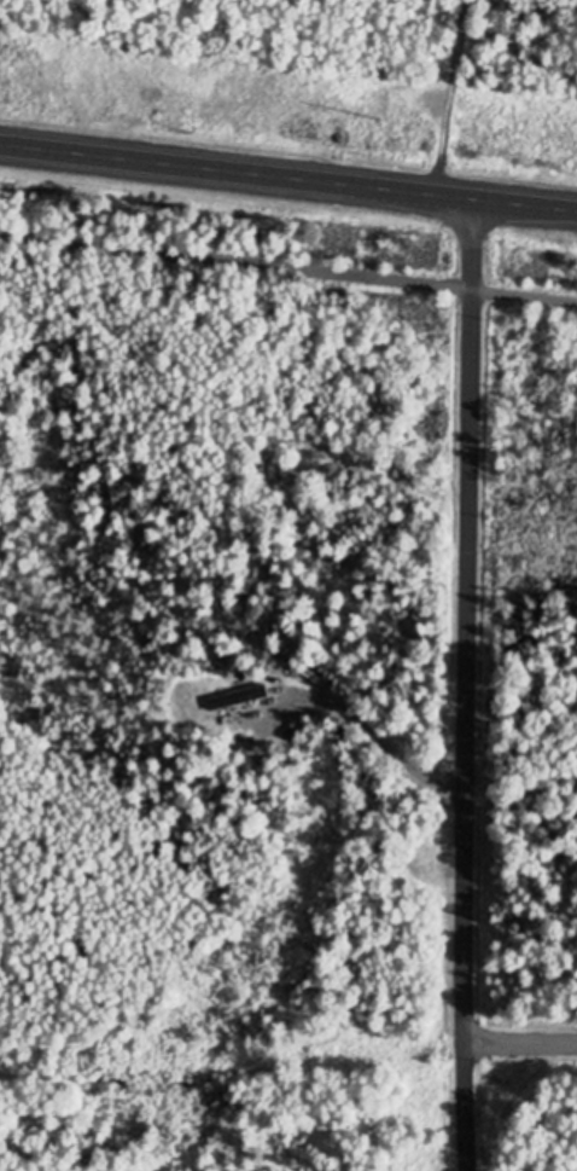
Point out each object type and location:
road: (453, 93)
power tower: (380, 111)
road: (287, 173)
road: (288, 263)
road: (465, 683)
building: (234, 696)
road: (379, 742)
road: (519, 1040)

